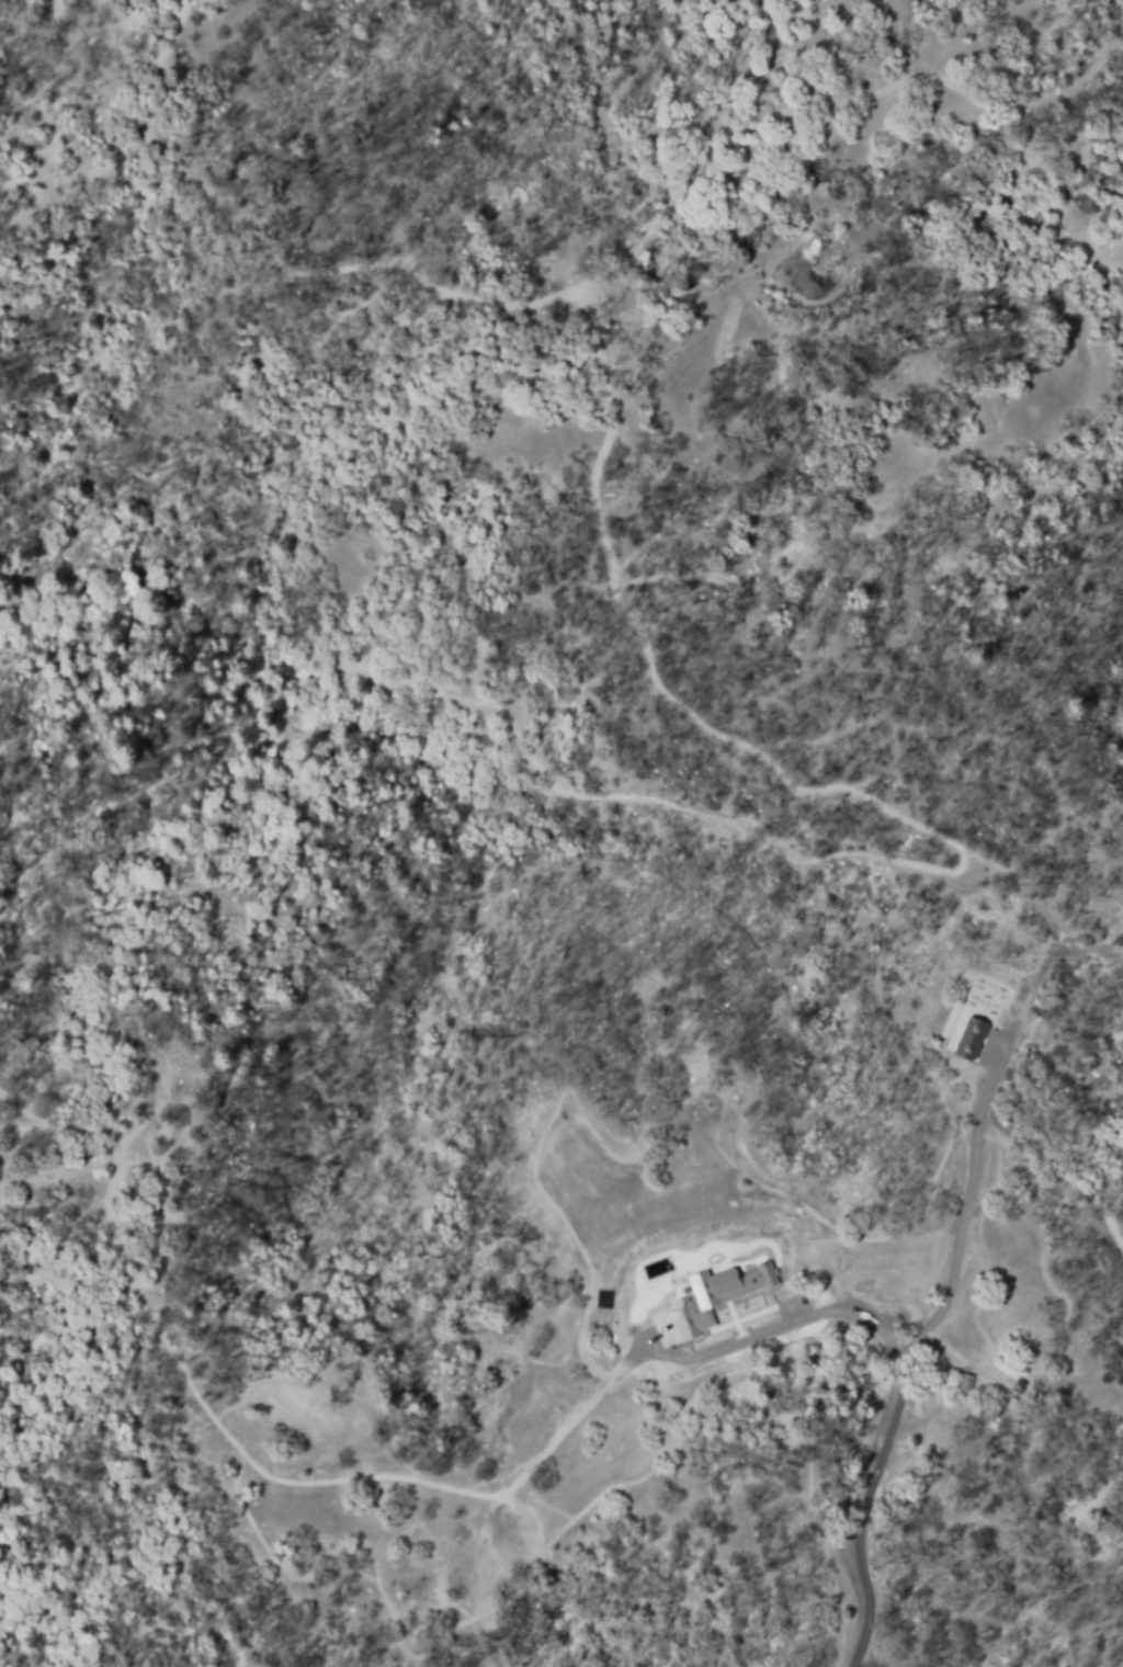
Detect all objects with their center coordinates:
building: (967, 1040)
building: (705, 1302)

